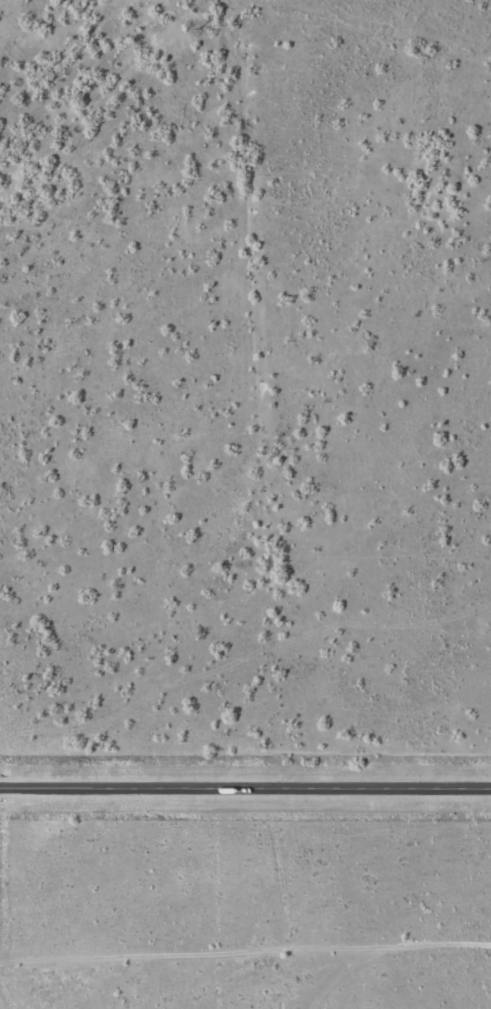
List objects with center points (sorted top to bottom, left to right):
road: (245, 791)

